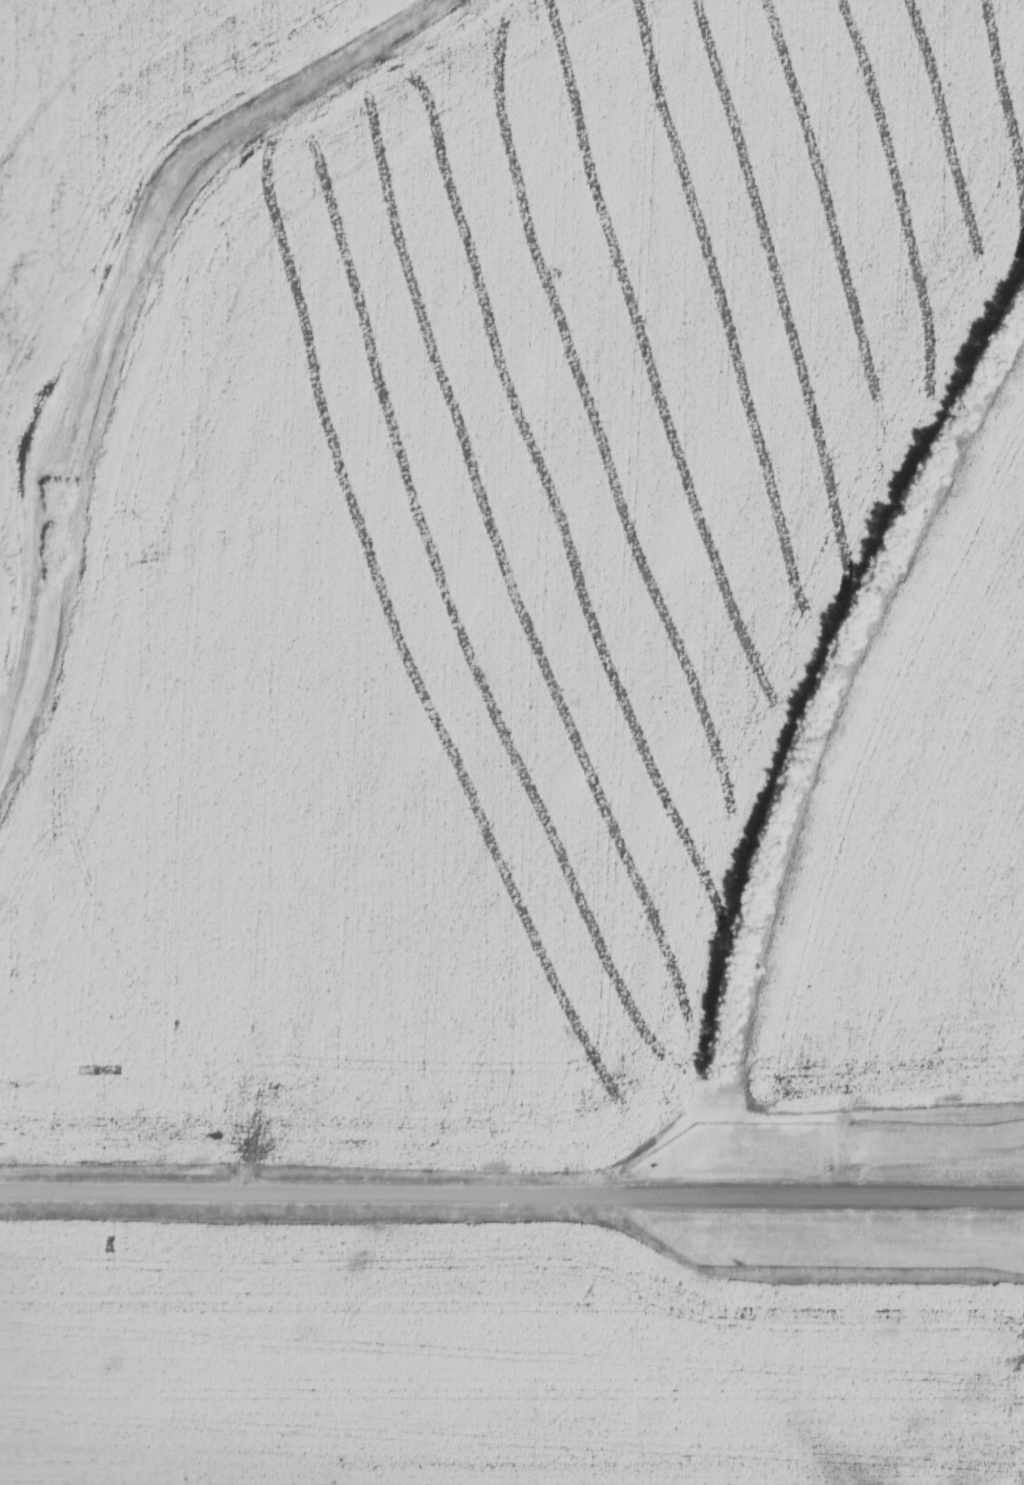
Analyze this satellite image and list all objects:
road: (511, 1193)

